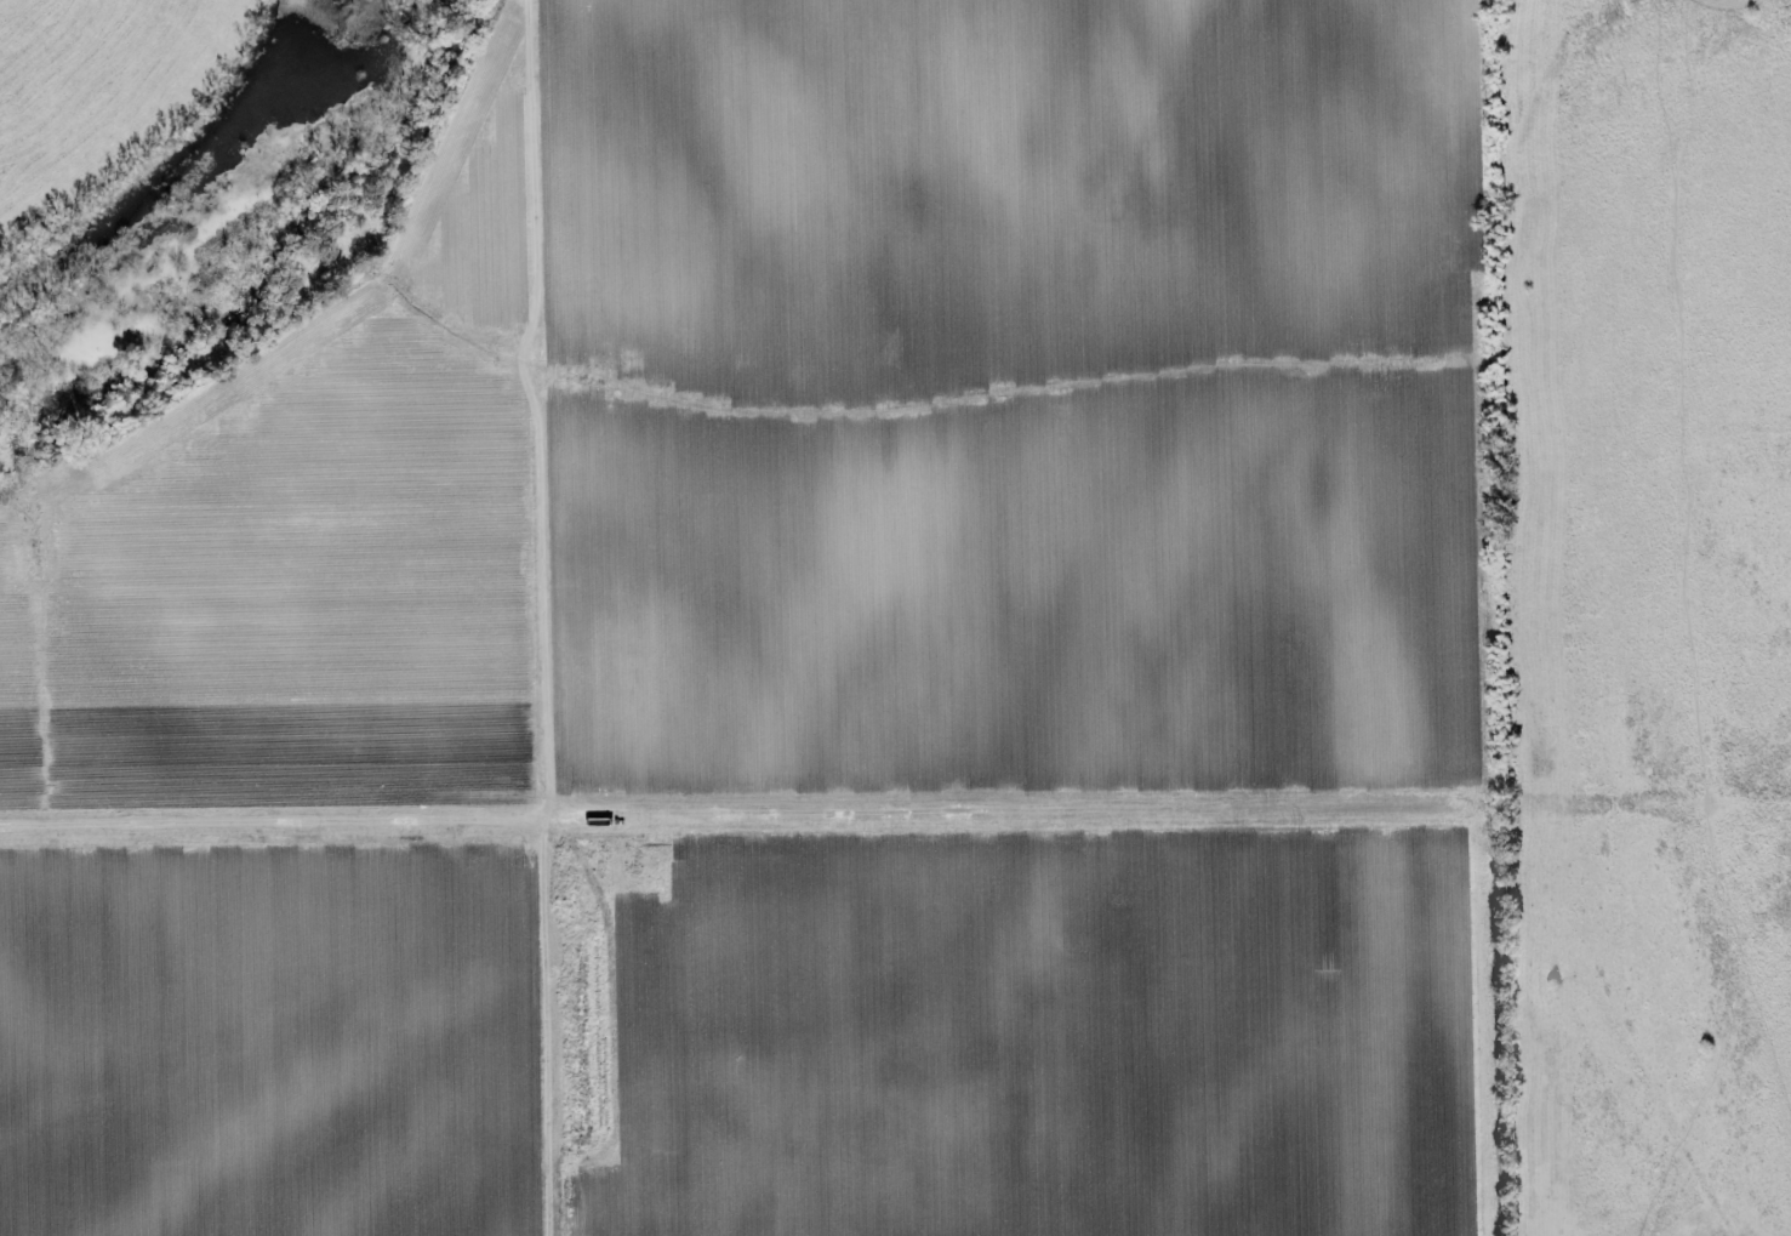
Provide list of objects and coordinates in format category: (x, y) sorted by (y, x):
road: (542, 619)
road: (276, 816)

